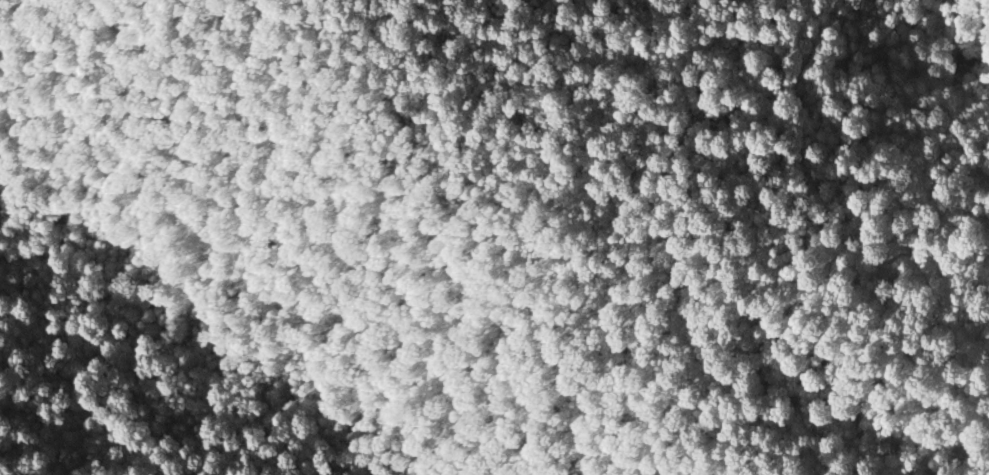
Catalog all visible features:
road: (902, 249)

